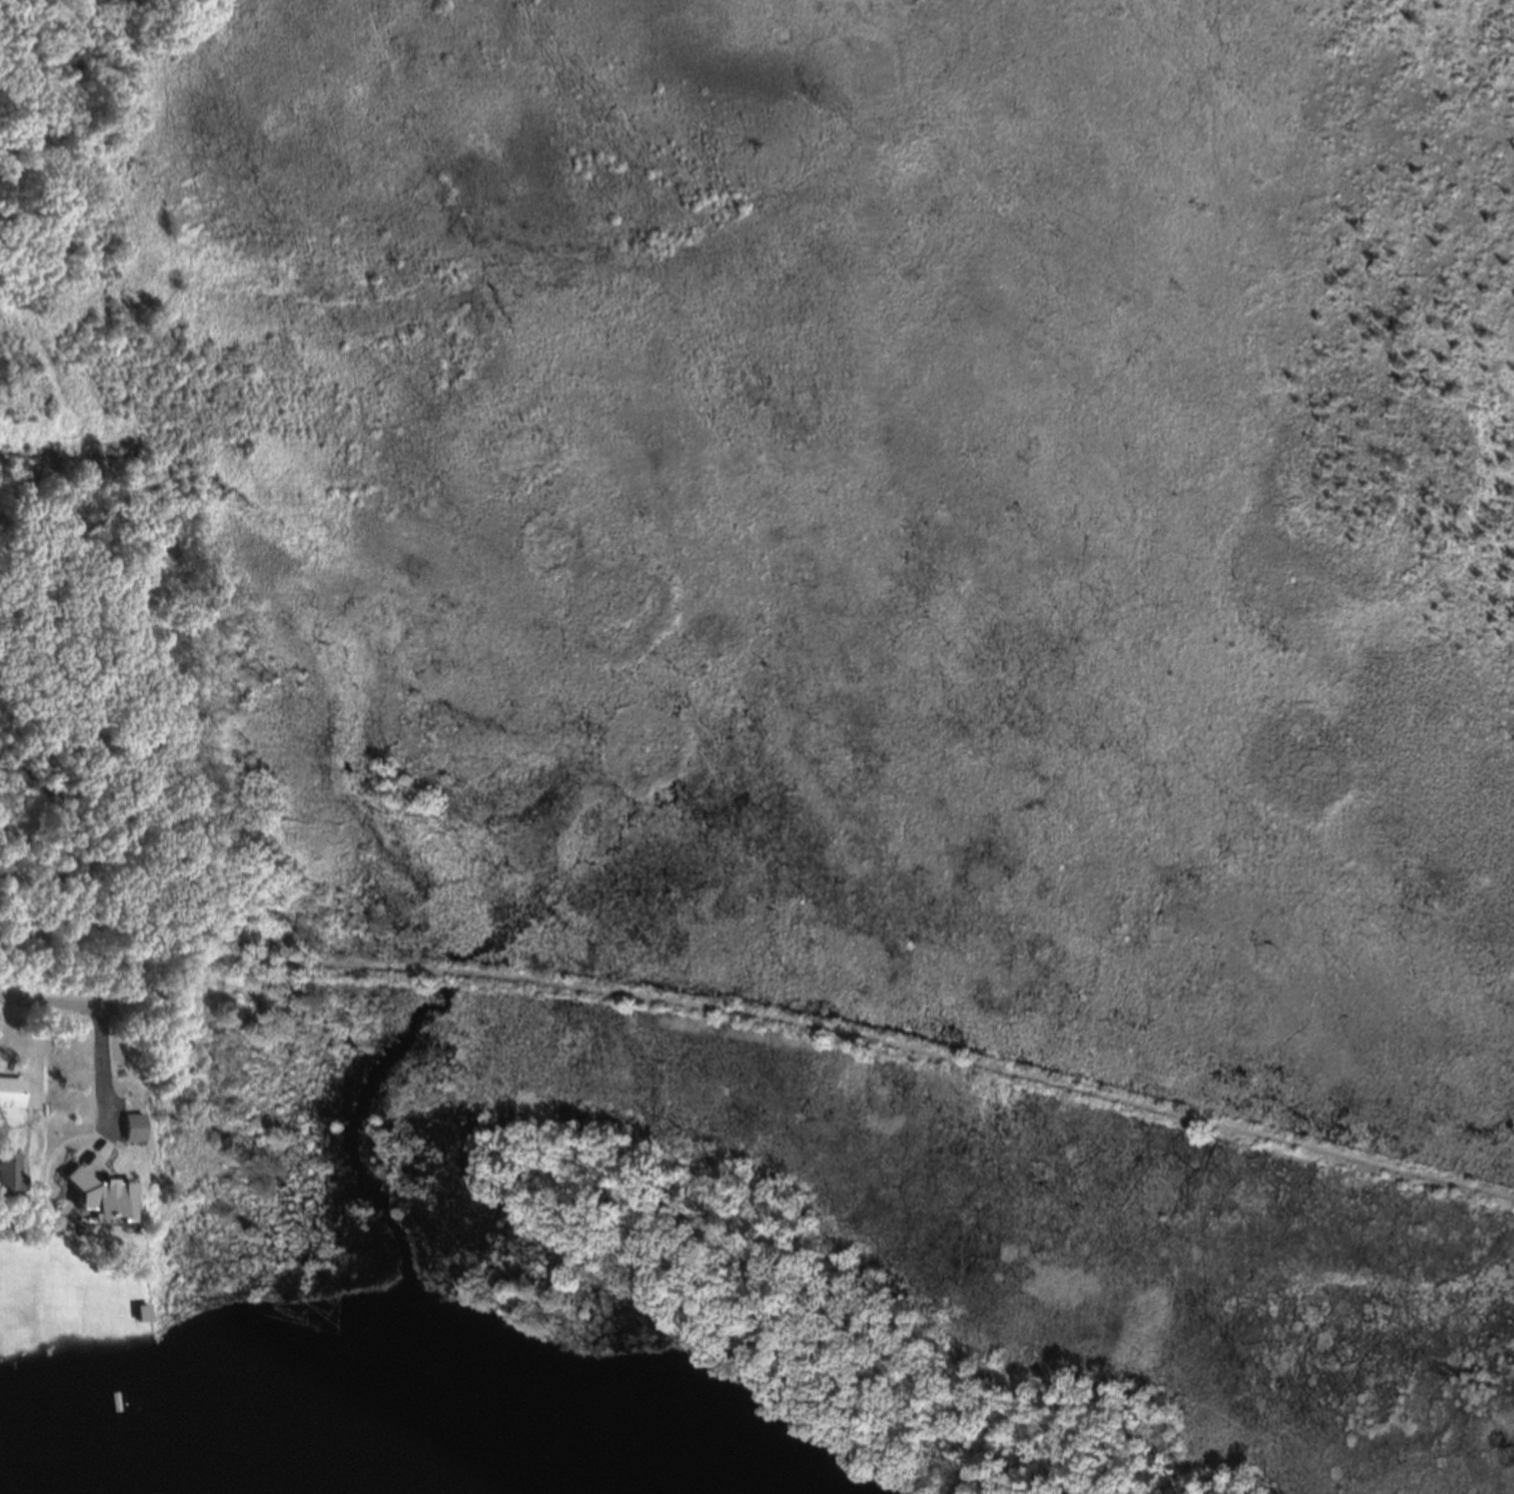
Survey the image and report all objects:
road: (60, 1004)
road: (42, 1058)
road: (98, 1081)
building: (10, 1100)
building: (131, 1132)
building: (8, 1179)
building: (119, 1205)

